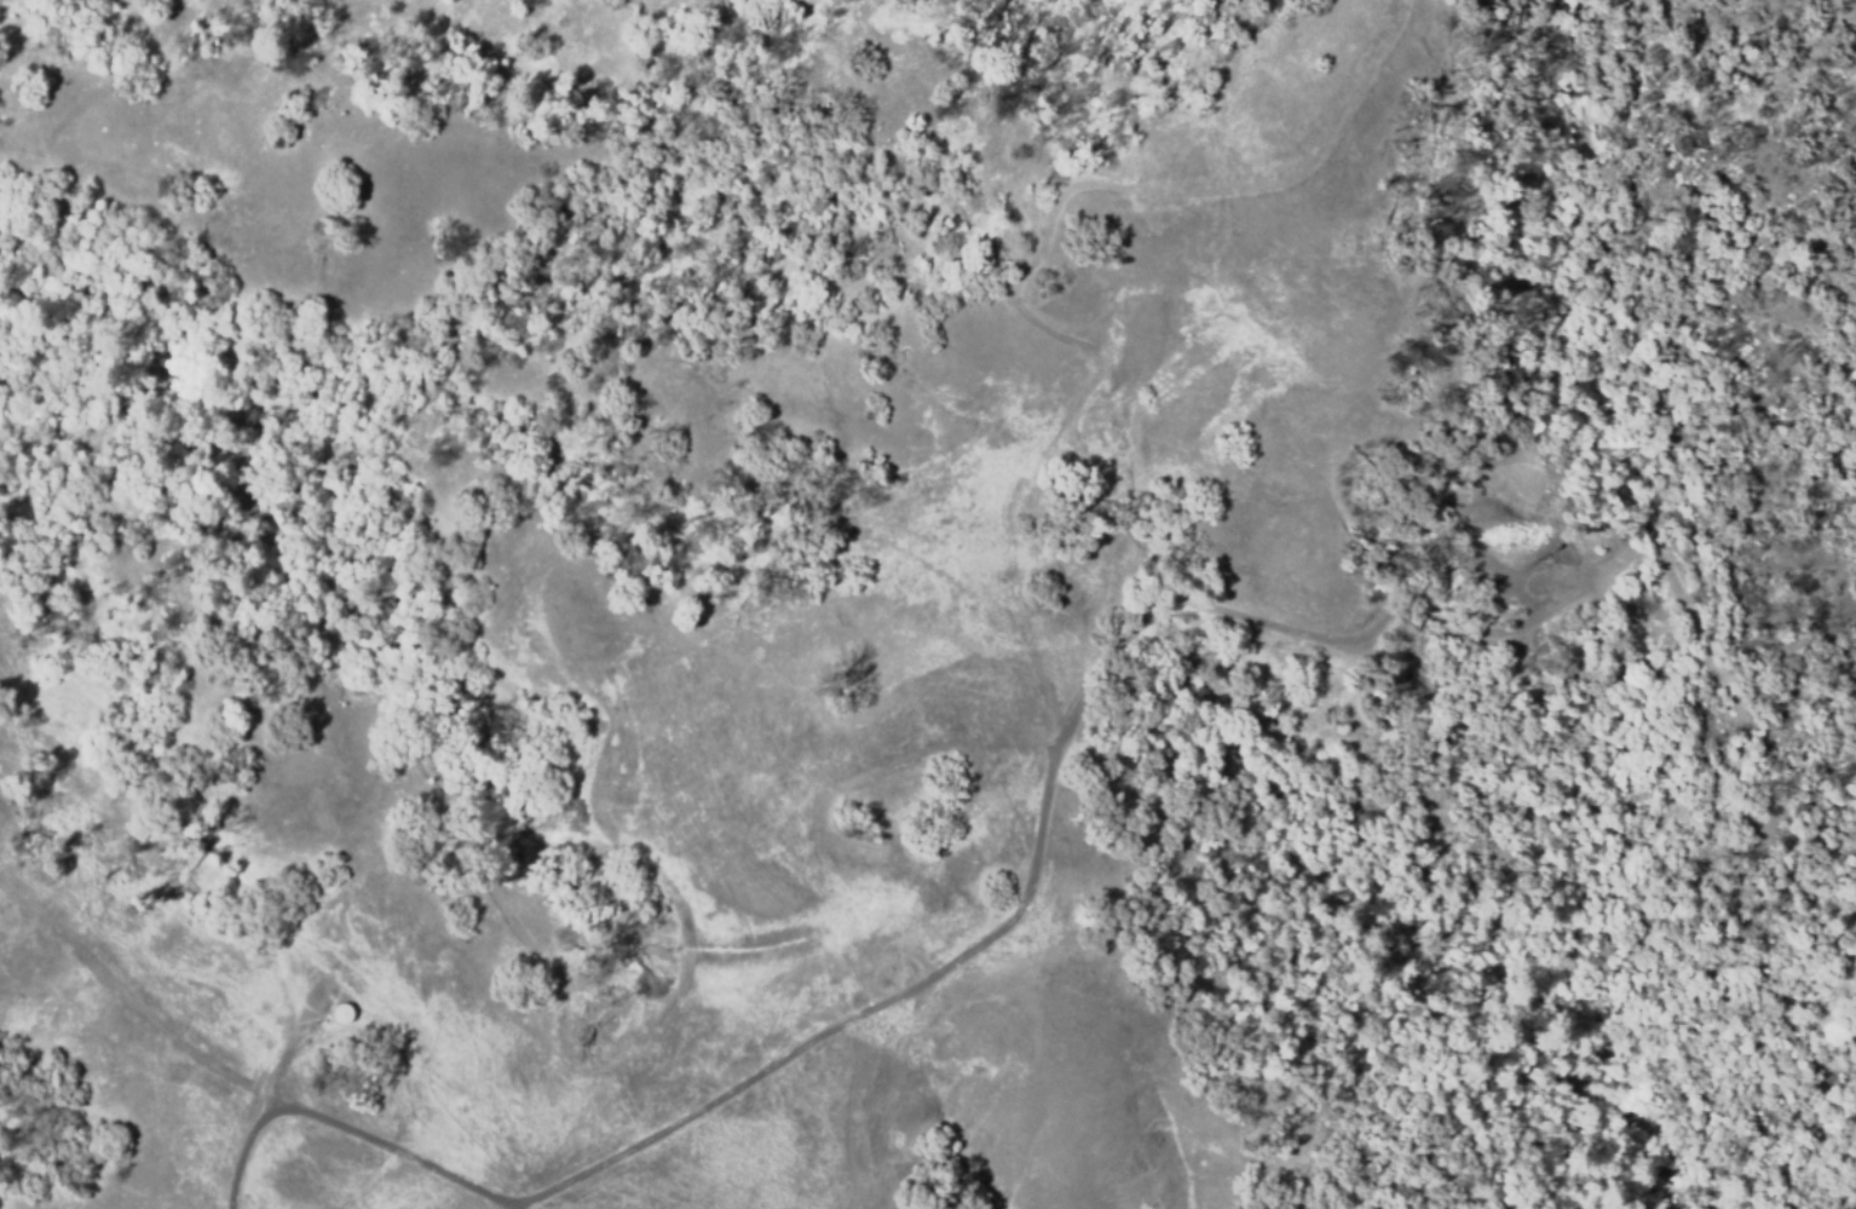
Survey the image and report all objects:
building: (342, 1009)

